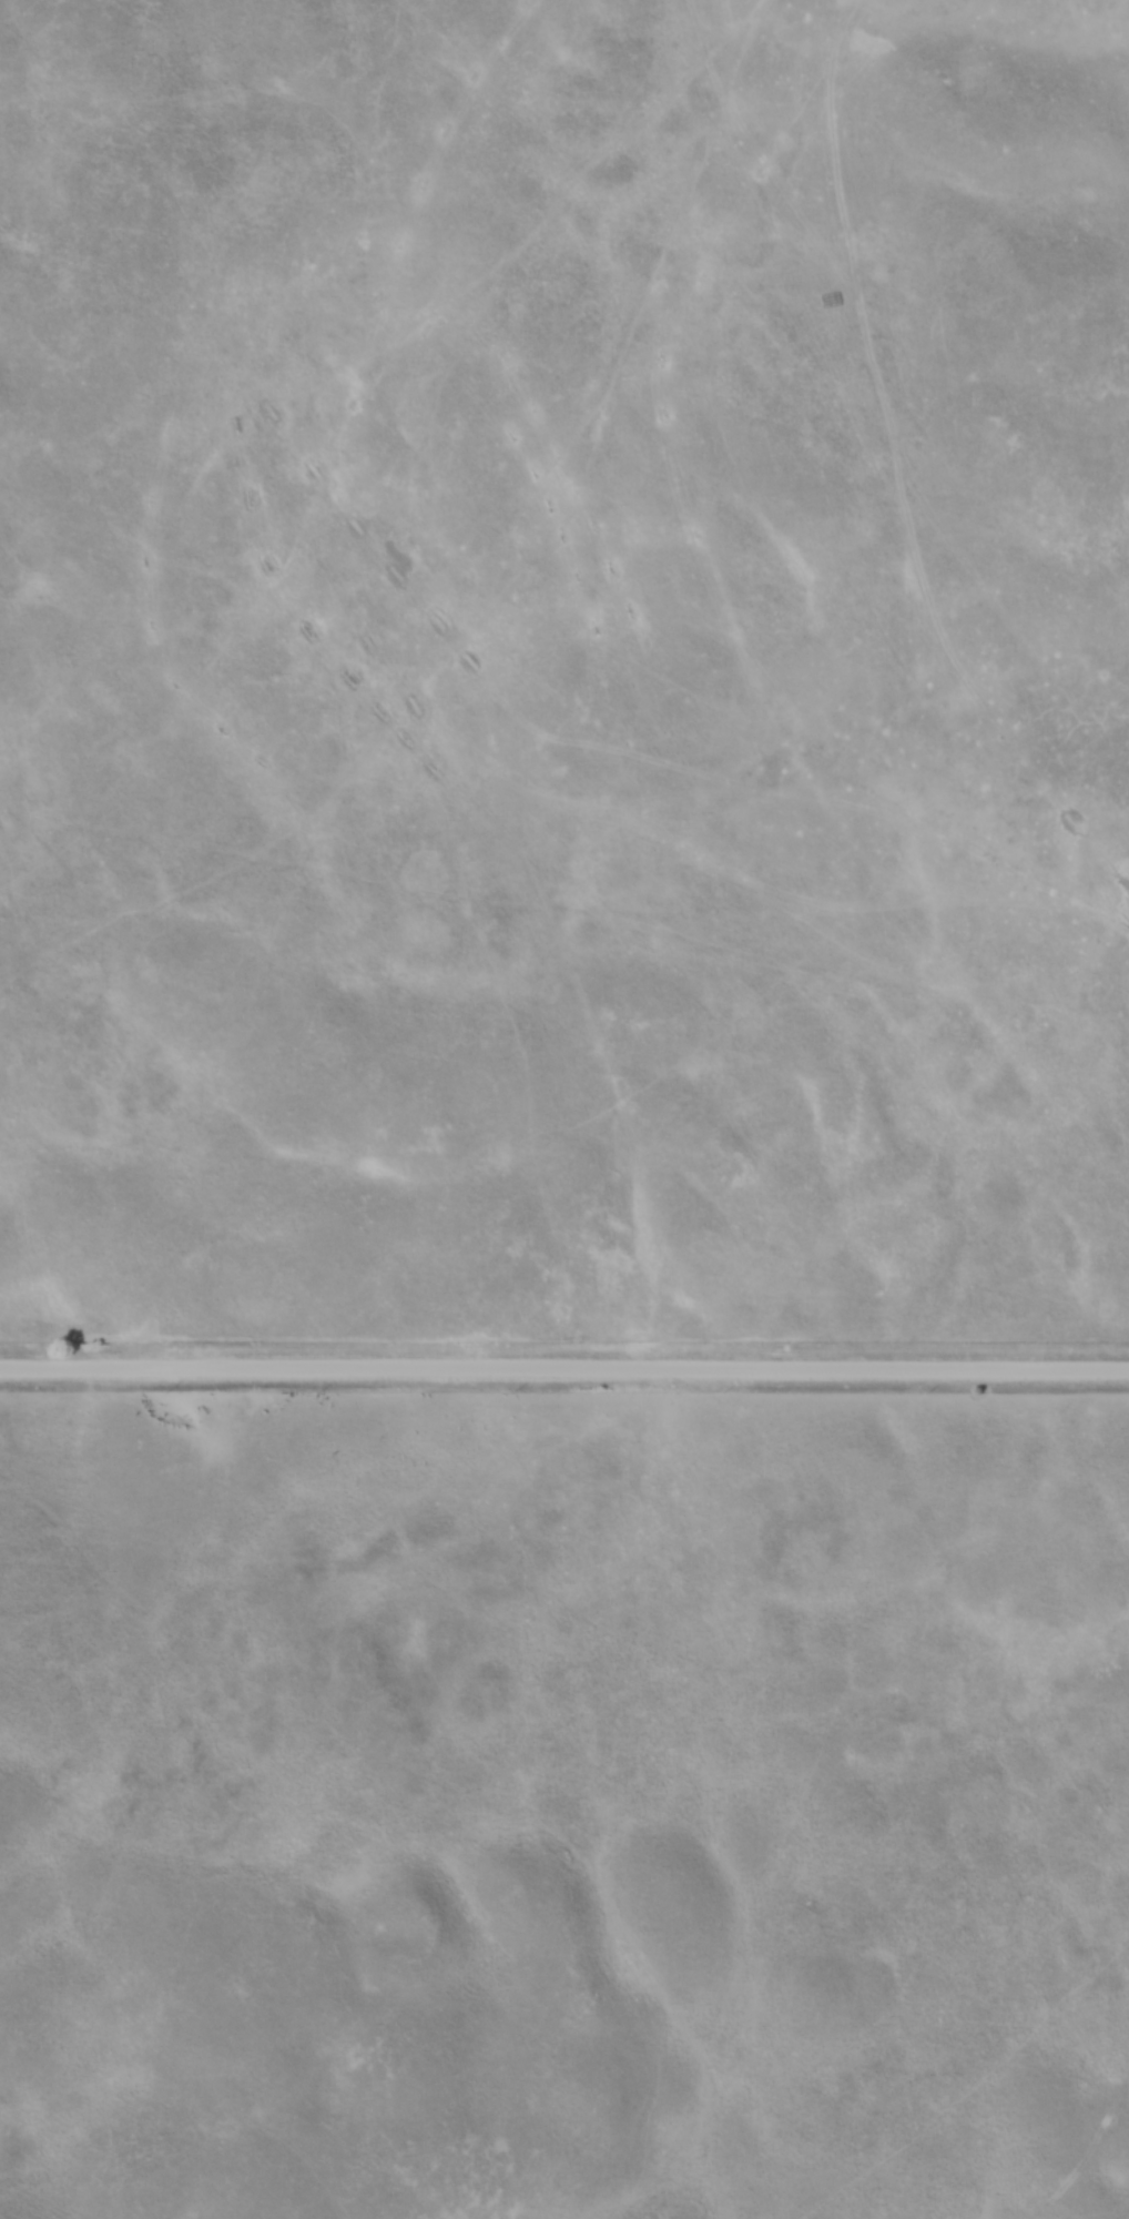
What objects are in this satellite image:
road: (564, 1378)

